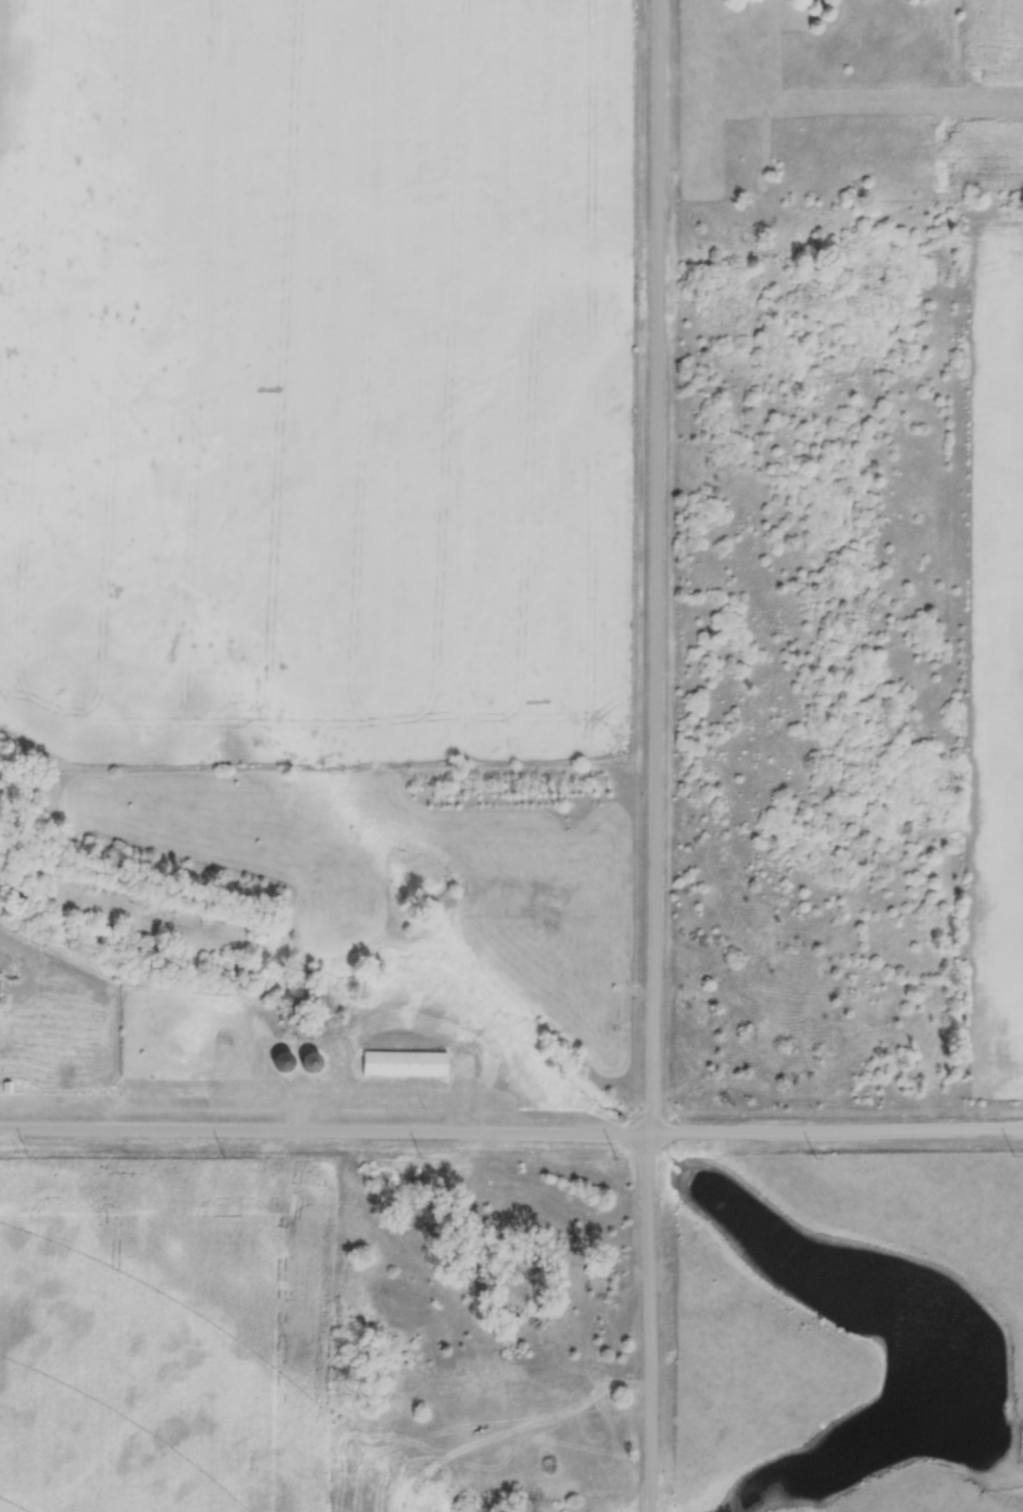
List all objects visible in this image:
airport runway: (852, 103)
airport: (868, 112)
road: (654, 756)
building: (285, 1062)
building: (314, 1063)
building: (408, 1063)
road: (511, 1131)

